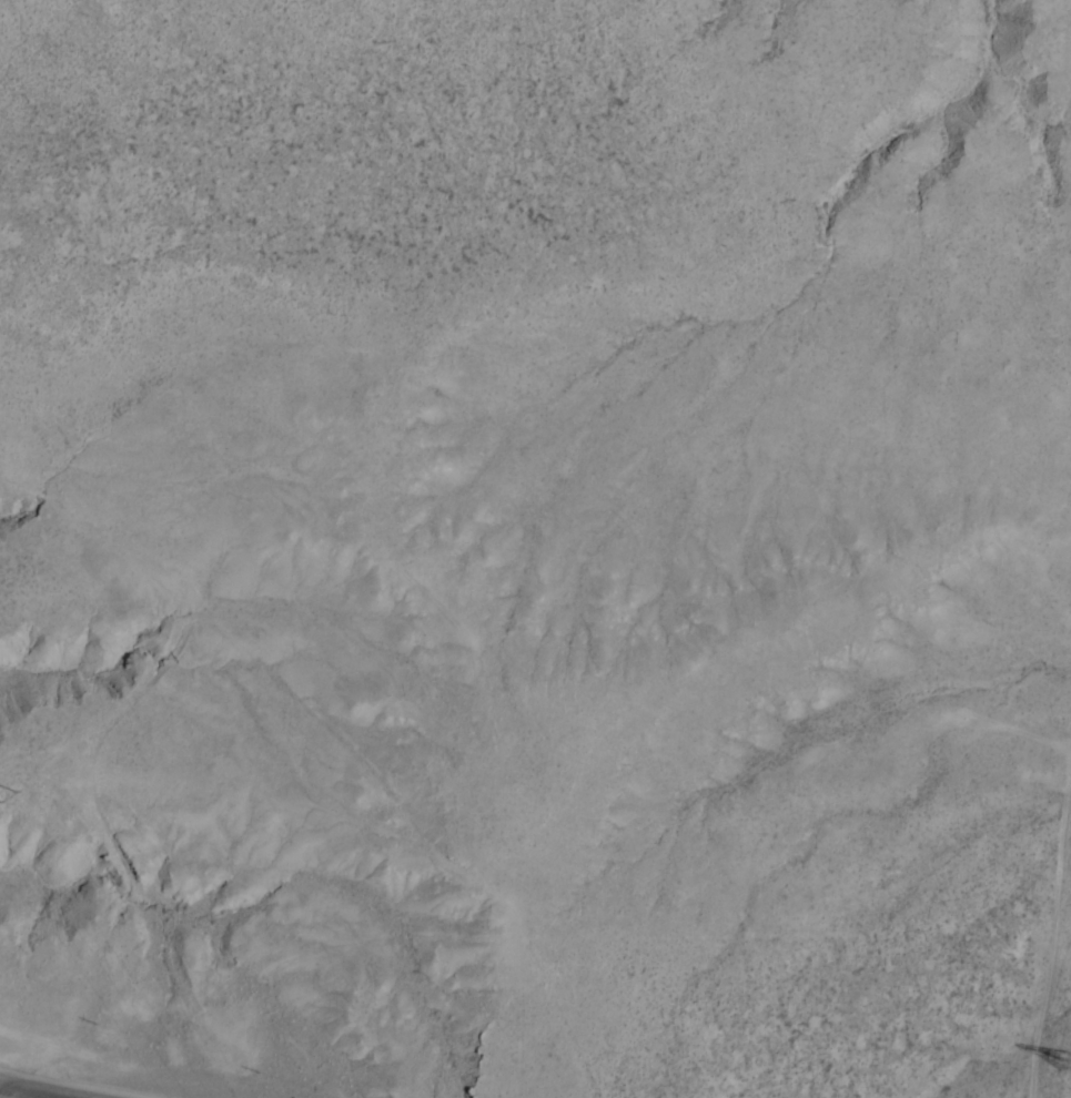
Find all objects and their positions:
power tower: (9, 796)
road: (118, 1055)

